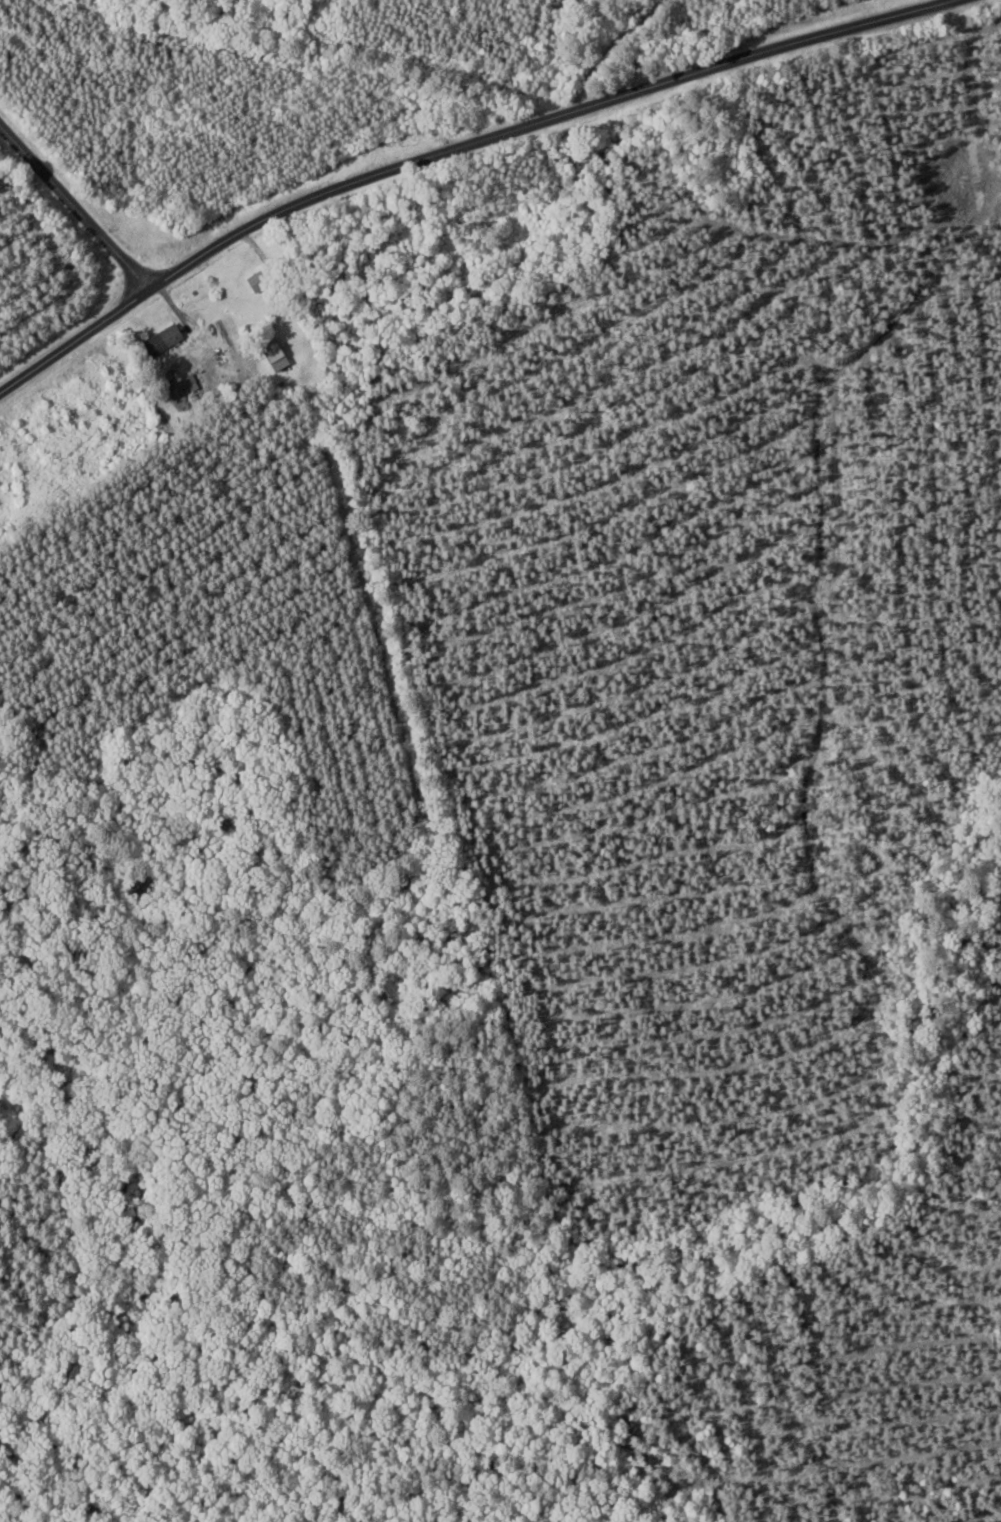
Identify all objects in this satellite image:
road: (6, 126)
road: (452, 148)
road: (77, 208)
building: (158, 339)
building: (178, 386)

